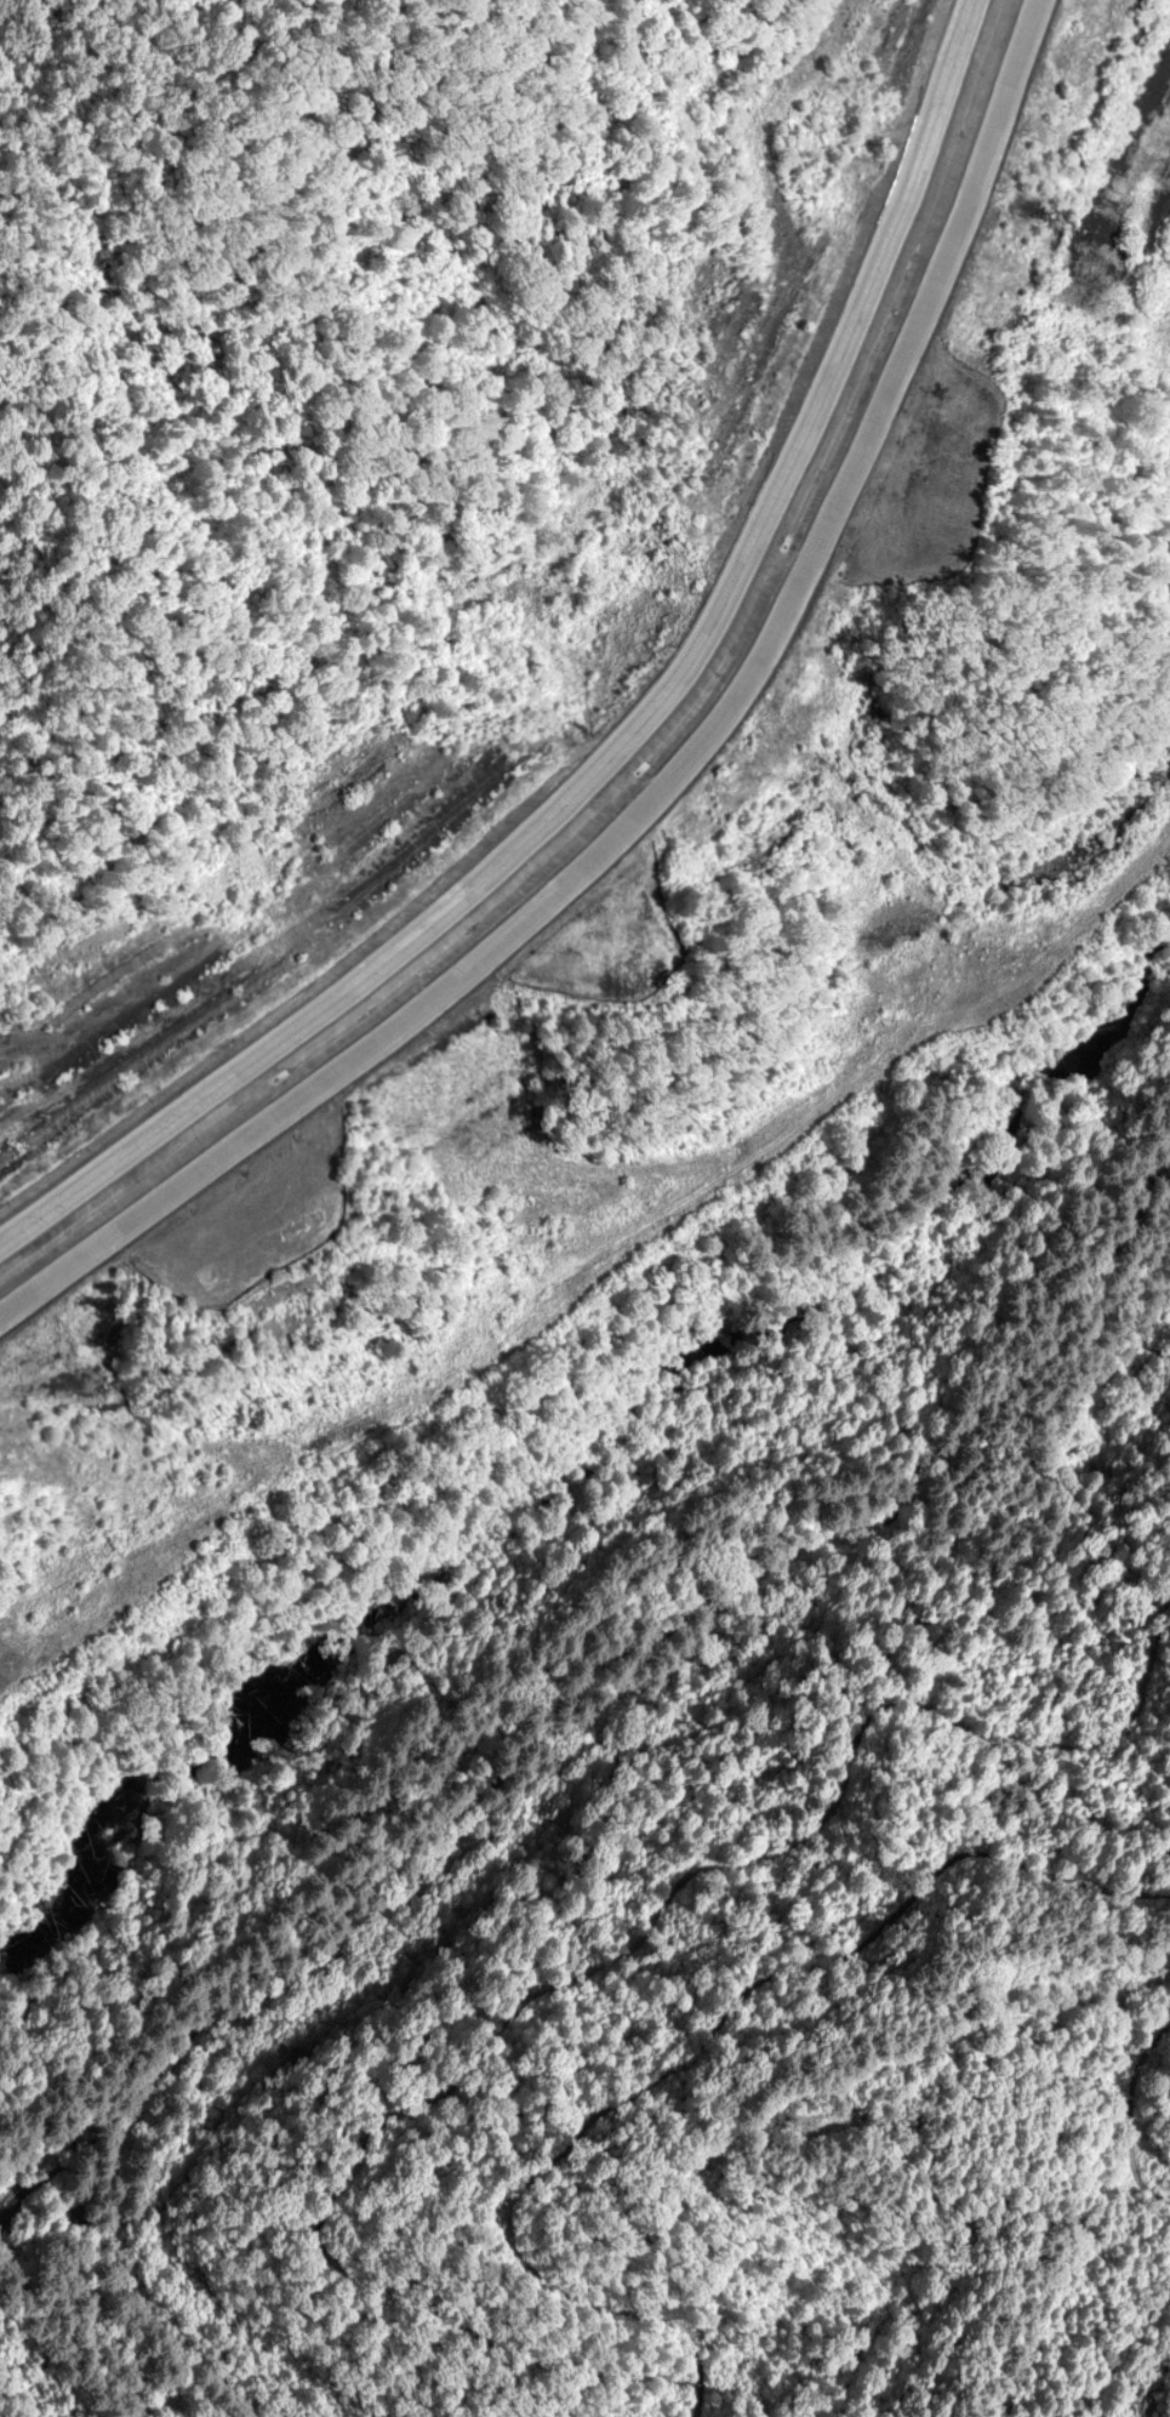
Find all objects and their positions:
quarry: (1090, 160)
road: (629, 737)
road: (662, 775)
quarry: (236, 928)

